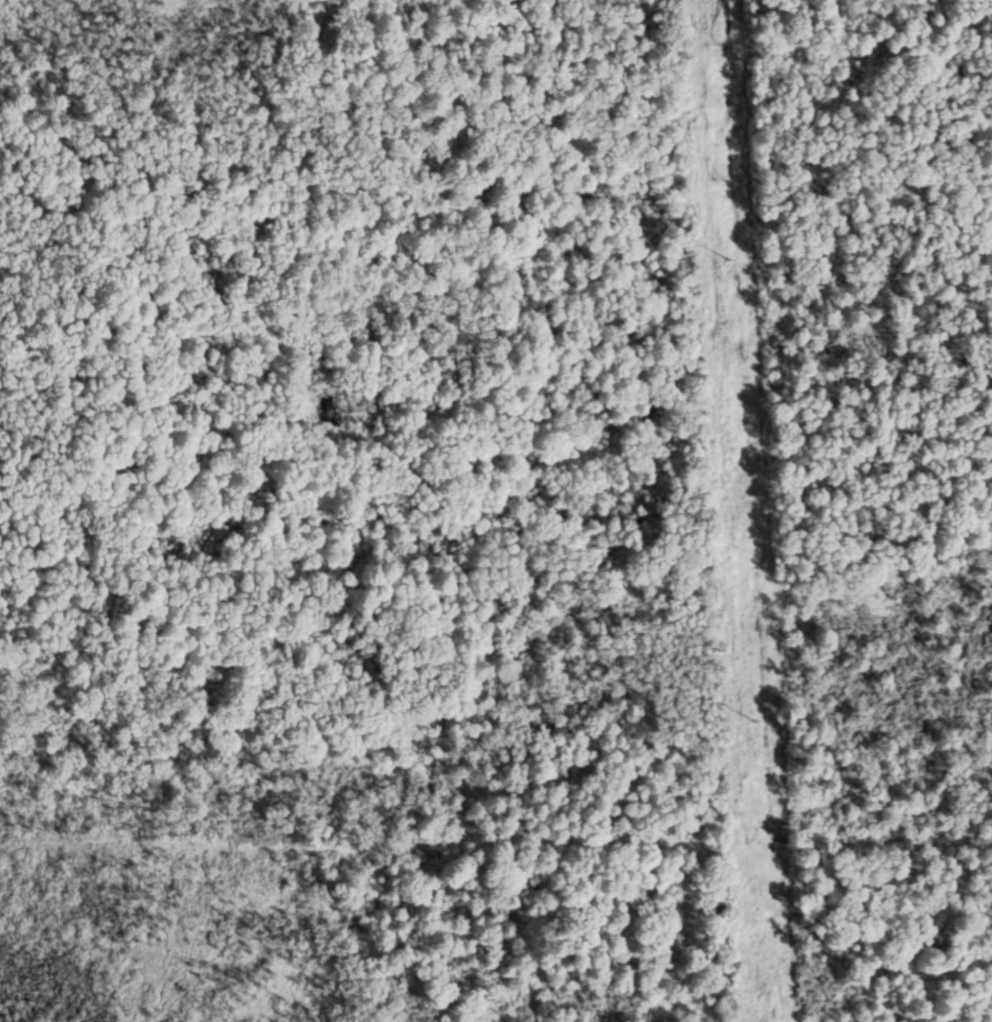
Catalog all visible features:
power tower: (725, 257)
power tower: (753, 714)

